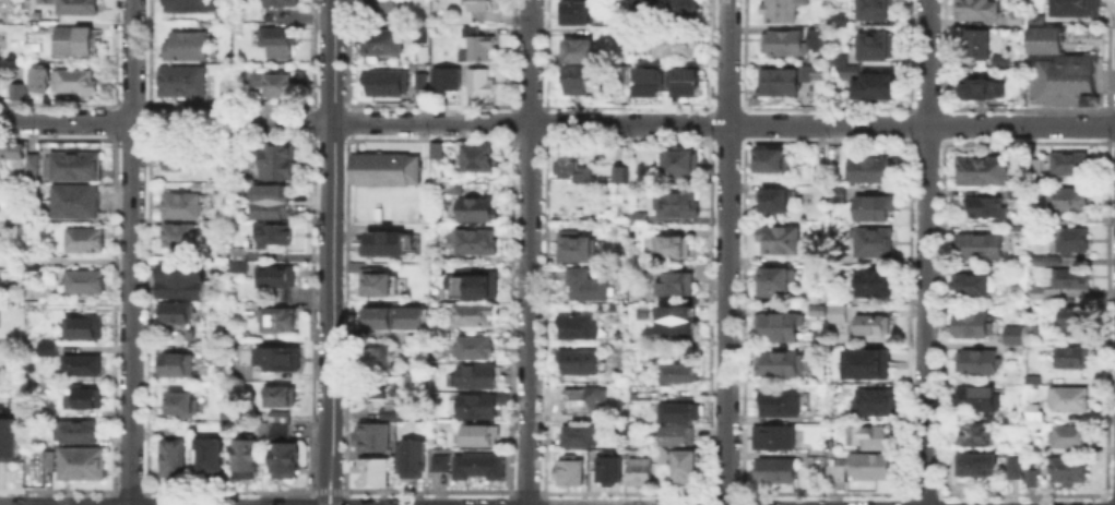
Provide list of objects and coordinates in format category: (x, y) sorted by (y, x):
building: (283, 3)
building: (192, 5)
building: (485, 5)
building: (379, 7)
building: (1072, 7)
building: (80, 8)
building: (876, 9)
building: (680, 10)
building: (977, 10)
building: (783, 11)
building: (574, 14)
building: (38, 16)
building: (1013, 16)
building: (1034, 19)
building: (837, 21)
building: (471, 31)
building: (817, 38)
building: (1042, 39)
building: (974, 40)
building: (75, 43)
building: (277, 43)
building: (382, 44)
building: (674, 45)
building: (786, 45)
building: (188, 47)
building: (876, 48)
building: (482, 49)
building: (578, 49)
building: (237, 53)
road: (130, 60)
building: (838, 60)
building: (1001, 67)
building: (38, 73)
building: (850, 73)
building: (625, 75)
building: (443, 76)
building: (418, 79)
building: (576, 79)
building: (665, 80)
building: (76, 81)
building: (182, 81)
building: (1067, 81)
building: (384, 82)
building: (481, 82)
building: (783, 82)
building: (276, 85)
building: (879, 86)
building: (980, 86)
building: (14, 89)
road: (64, 120)
road: (621, 123)
building: (10, 149)
building: (437, 152)
building: (15, 159)
building: (180, 160)
building: (478, 161)
building: (678, 161)
building: (768, 161)
building: (32, 163)
building: (572, 165)
building: (1070, 165)
building: (277, 166)
building: (74, 167)
building: (1035, 168)
building: (385, 171)
building: (873, 171)
building: (616, 172)
building: (982, 172)
building: (821, 173)
building: (621, 179)
building: (197, 187)
building: (454, 190)
building: (834, 192)
building: (1019, 193)
building: (1068, 199)
building: (775, 200)
building: (75, 203)
building: (677, 204)
building: (272, 205)
building: (868, 206)
building: (183, 207)
building: (986, 209)
building: (475, 211)
building: (638, 218)
building: (13, 223)
road: (332, 231)
building: (1020, 231)
building: (179, 237)
building: (275, 238)
building: (1, 239)
building: (86, 241)
building: (780, 241)
building: (1071, 241)
building: (474, 243)
building: (873, 243)
building: (392, 244)
building: (577, 247)
building: (981, 247)
building: (672, 248)
road: (526, 252)
road: (727, 252)
road: (924, 252)
building: (1037, 261)
building: (358, 267)
building: (240, 272)
building: (1066, 278)
building: (775, 279)
building: (873, 281)
building: (278, 282)
building: (86, 284)
building: (183, 284)
building: (472, 284)
building: (380, 285)
building: (586, 285)
building: (677, 285)
building: (972, 287)
building: (1039, 293)
building: (440, 299)
building: (814, 309)
building: (833, 312)
road: (129, 313)
building: (176, 314)
building: (474, 315)
building: (1076, 315)
building: (379, 320)
building: (683, 320)
building: (278, 323)
building: (868, 323)
building: (81, 326)
building: (972, 326)
building: (778, 327)
building: (577, 328)
building: (1076, 329)
building: (1012, 338)
building: (45, 346)
building: (475, 348)
building: (1069, 358)
building: (278, 360)
building: (380, 361)
building: (580, 362)
building: (864, 362)
building: (78, 363)
building: (977, 363)
building: (779, 364)
building: (175, 365)
building: (678, 374)
building: (477, 376)
building: (387, 395)
building: (84, 399)
building: (281, 399)
building: (1069, 400)
building: (976, 401)
building: (582, 402)
building: (876, 402)
building: (181, 406)
building: (781, 406)
building: (478, 408)
building: (678, 409)
building: (1035, 413)
building: (44, 414)
building: (277, 414)
building: (391, 414)
building: (280, 428)
building: (264, 431)
building: (76, 433)
building: (375, 437)
building: (481, 437)
building: (578, 437)
building: (678, 437)
building: (976, 437)
building: (1069, 437)
building: (8, 438)
building: (775, 438)
building: (875, 438)
building: (246, 456)
building: (411, 457)
building: (663, 459)
building: (48, 460)
building: (173, 460)
building: (284, 461)
building: (436, 461)
building: (211, 462)
building: (82, 465)
building: (976, 466)
building: (870, 467)
building: (479, 468)
building: (686, 469)
building: (1015, 469)
building: (774, 471)
building: (1070, 471)
building: (373, 472)
building: (570, 472)
building: (609, 472)
building: (640, 472)
building: (837, 473)
building: (1033, 479)
road: (323, 483)
road: (337, 484)
road: (330, 490)

